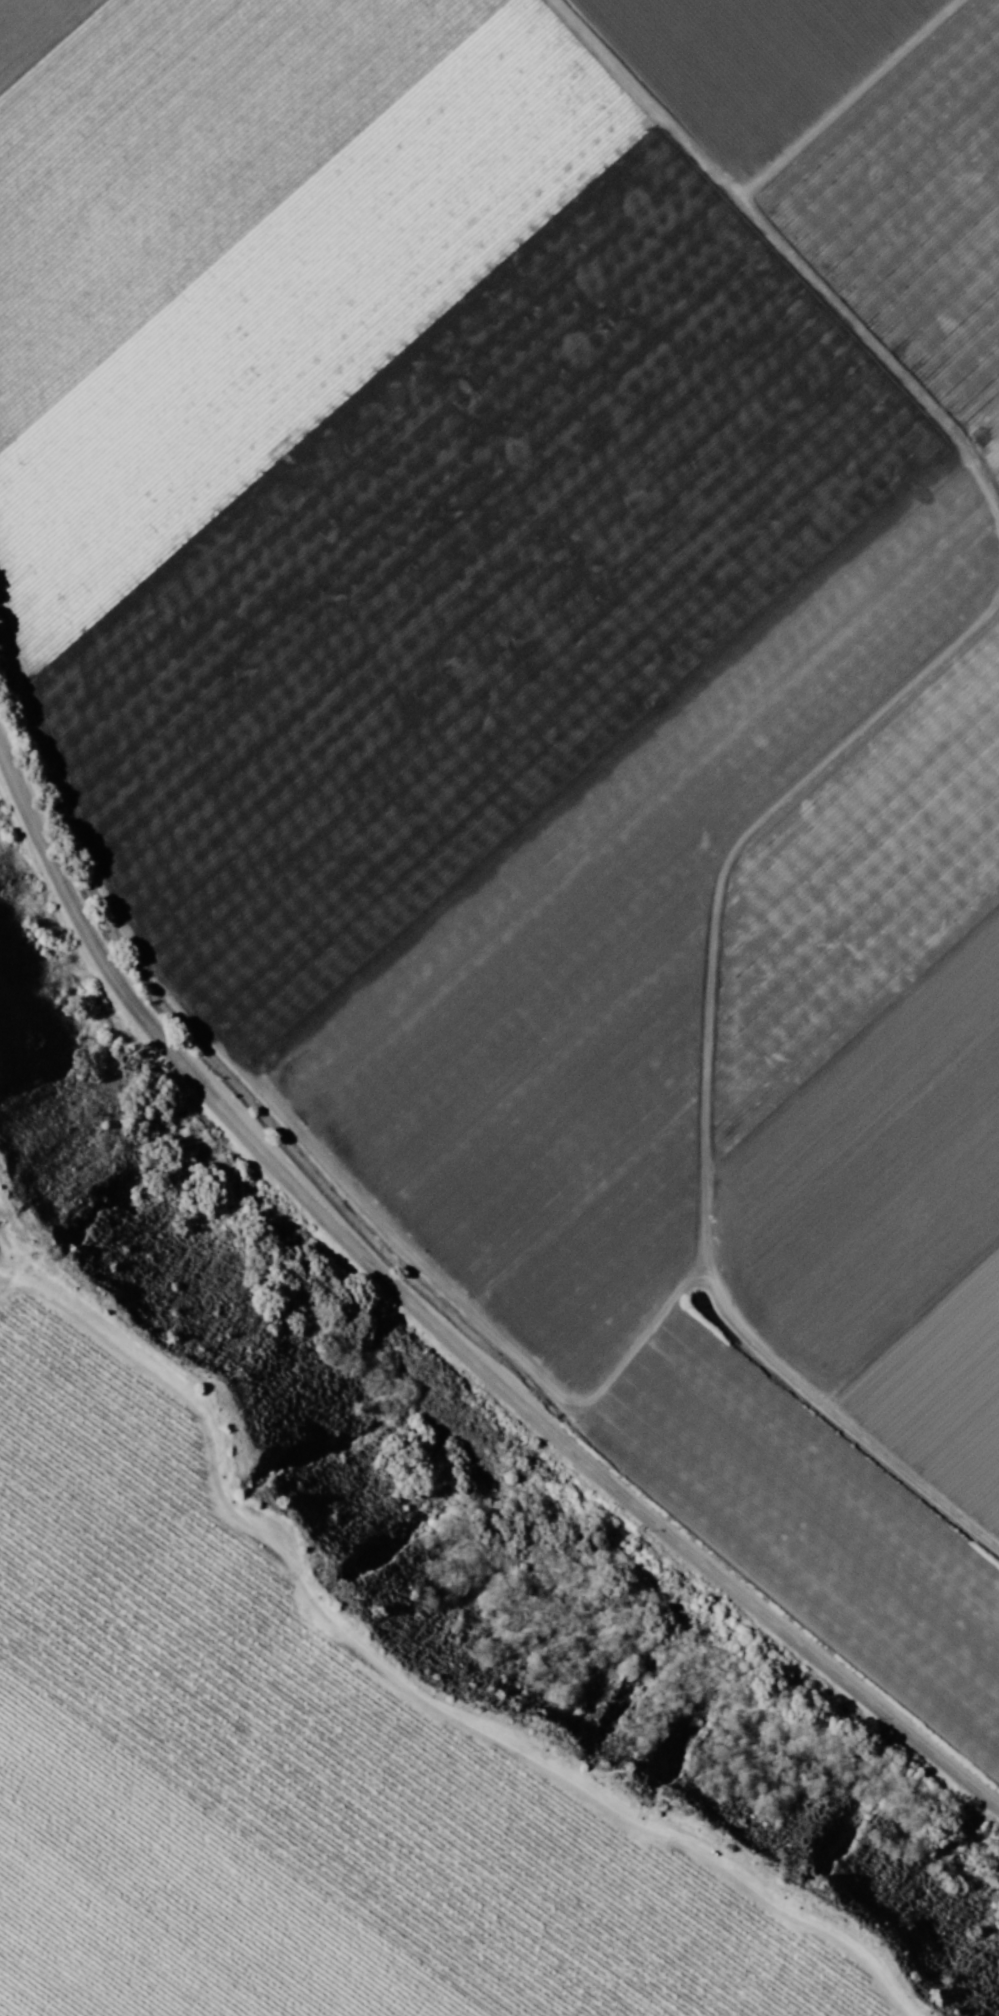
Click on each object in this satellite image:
road: (752, 197)
road: (437, 1327)

